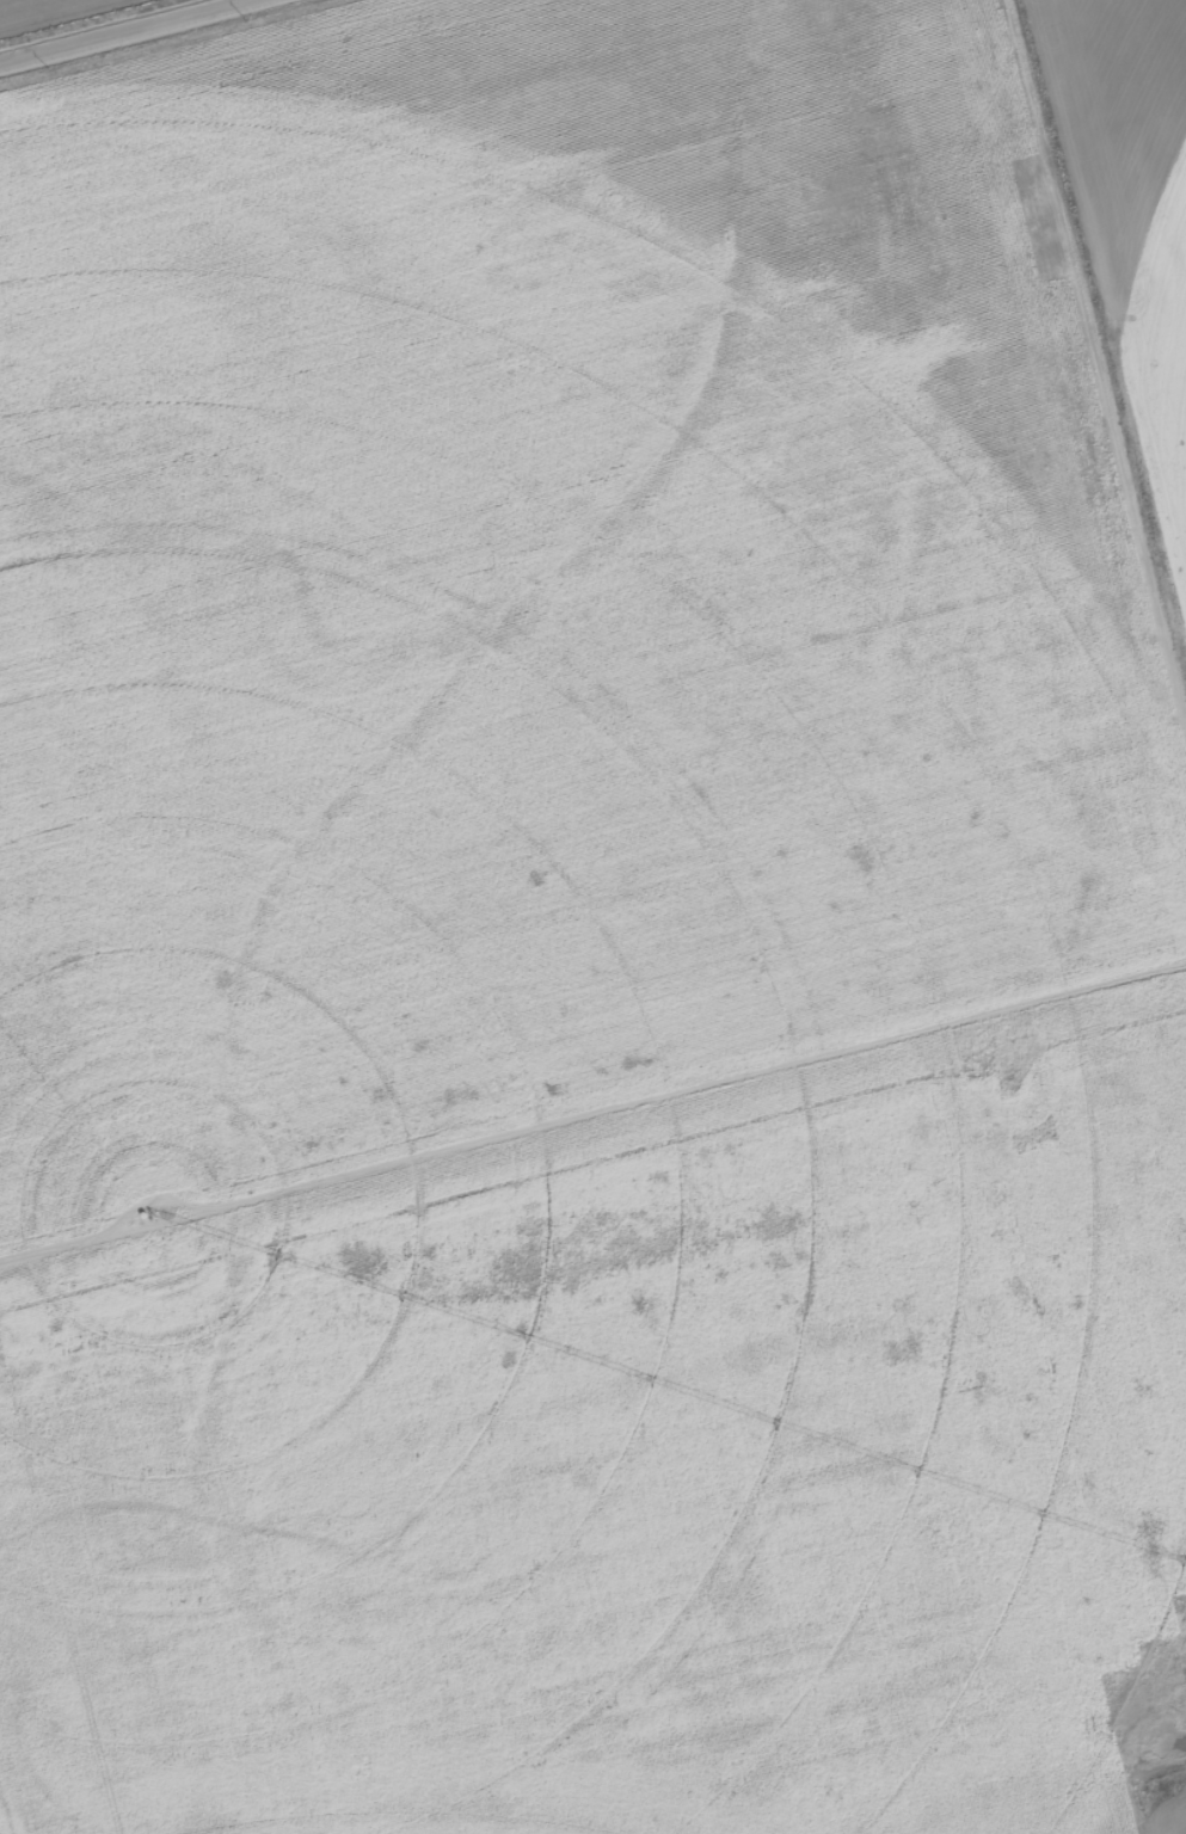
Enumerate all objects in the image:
road: (118, 30)
road: (1095, 369)
road: (592, 1108)

